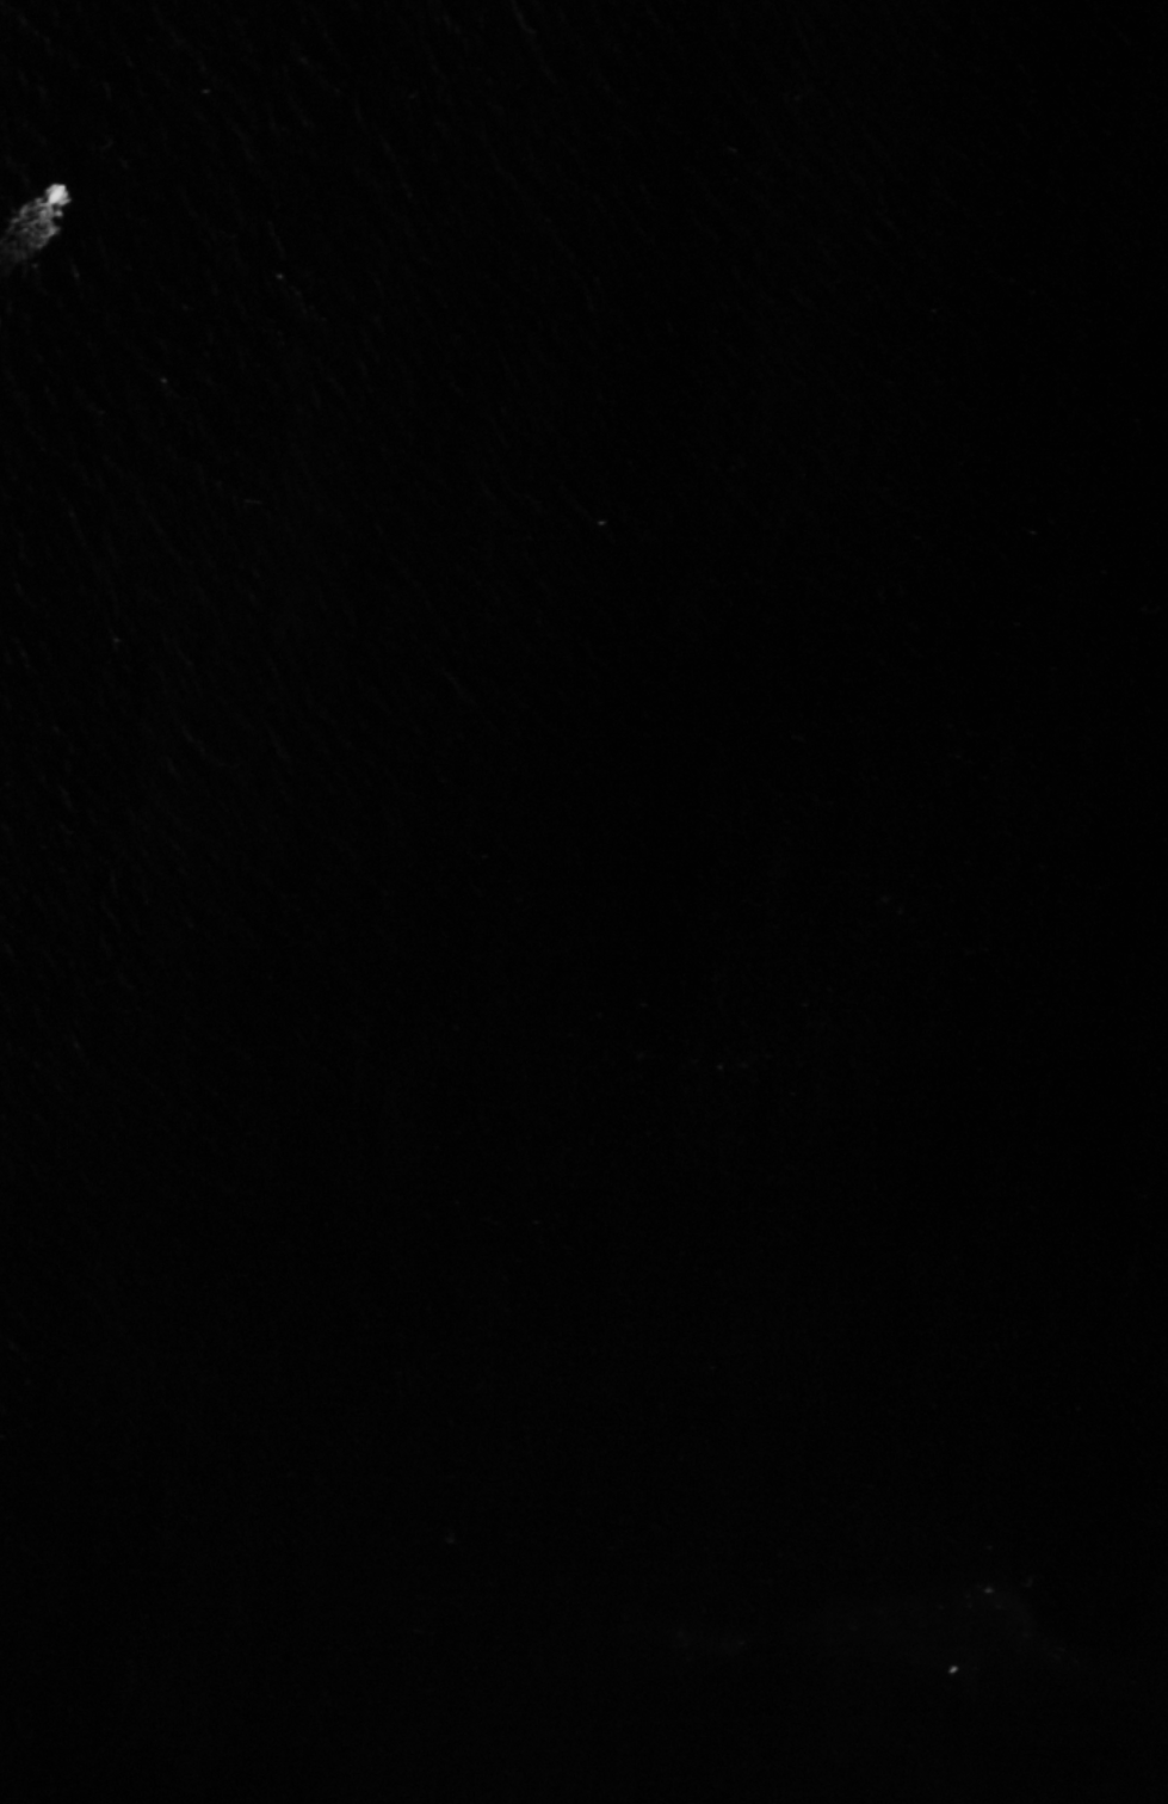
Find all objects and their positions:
river: (23, 25)

